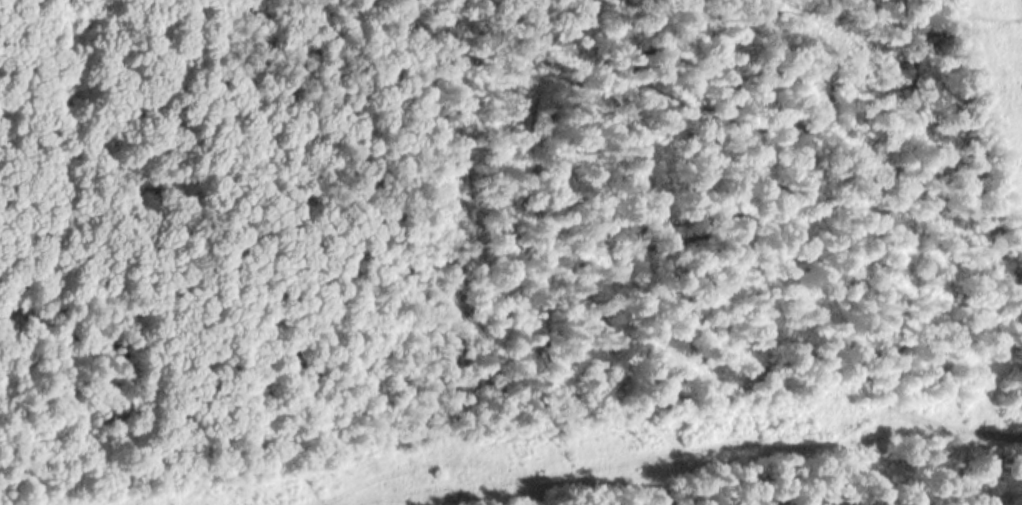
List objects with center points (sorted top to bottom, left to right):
ski resort: (923, 128)

